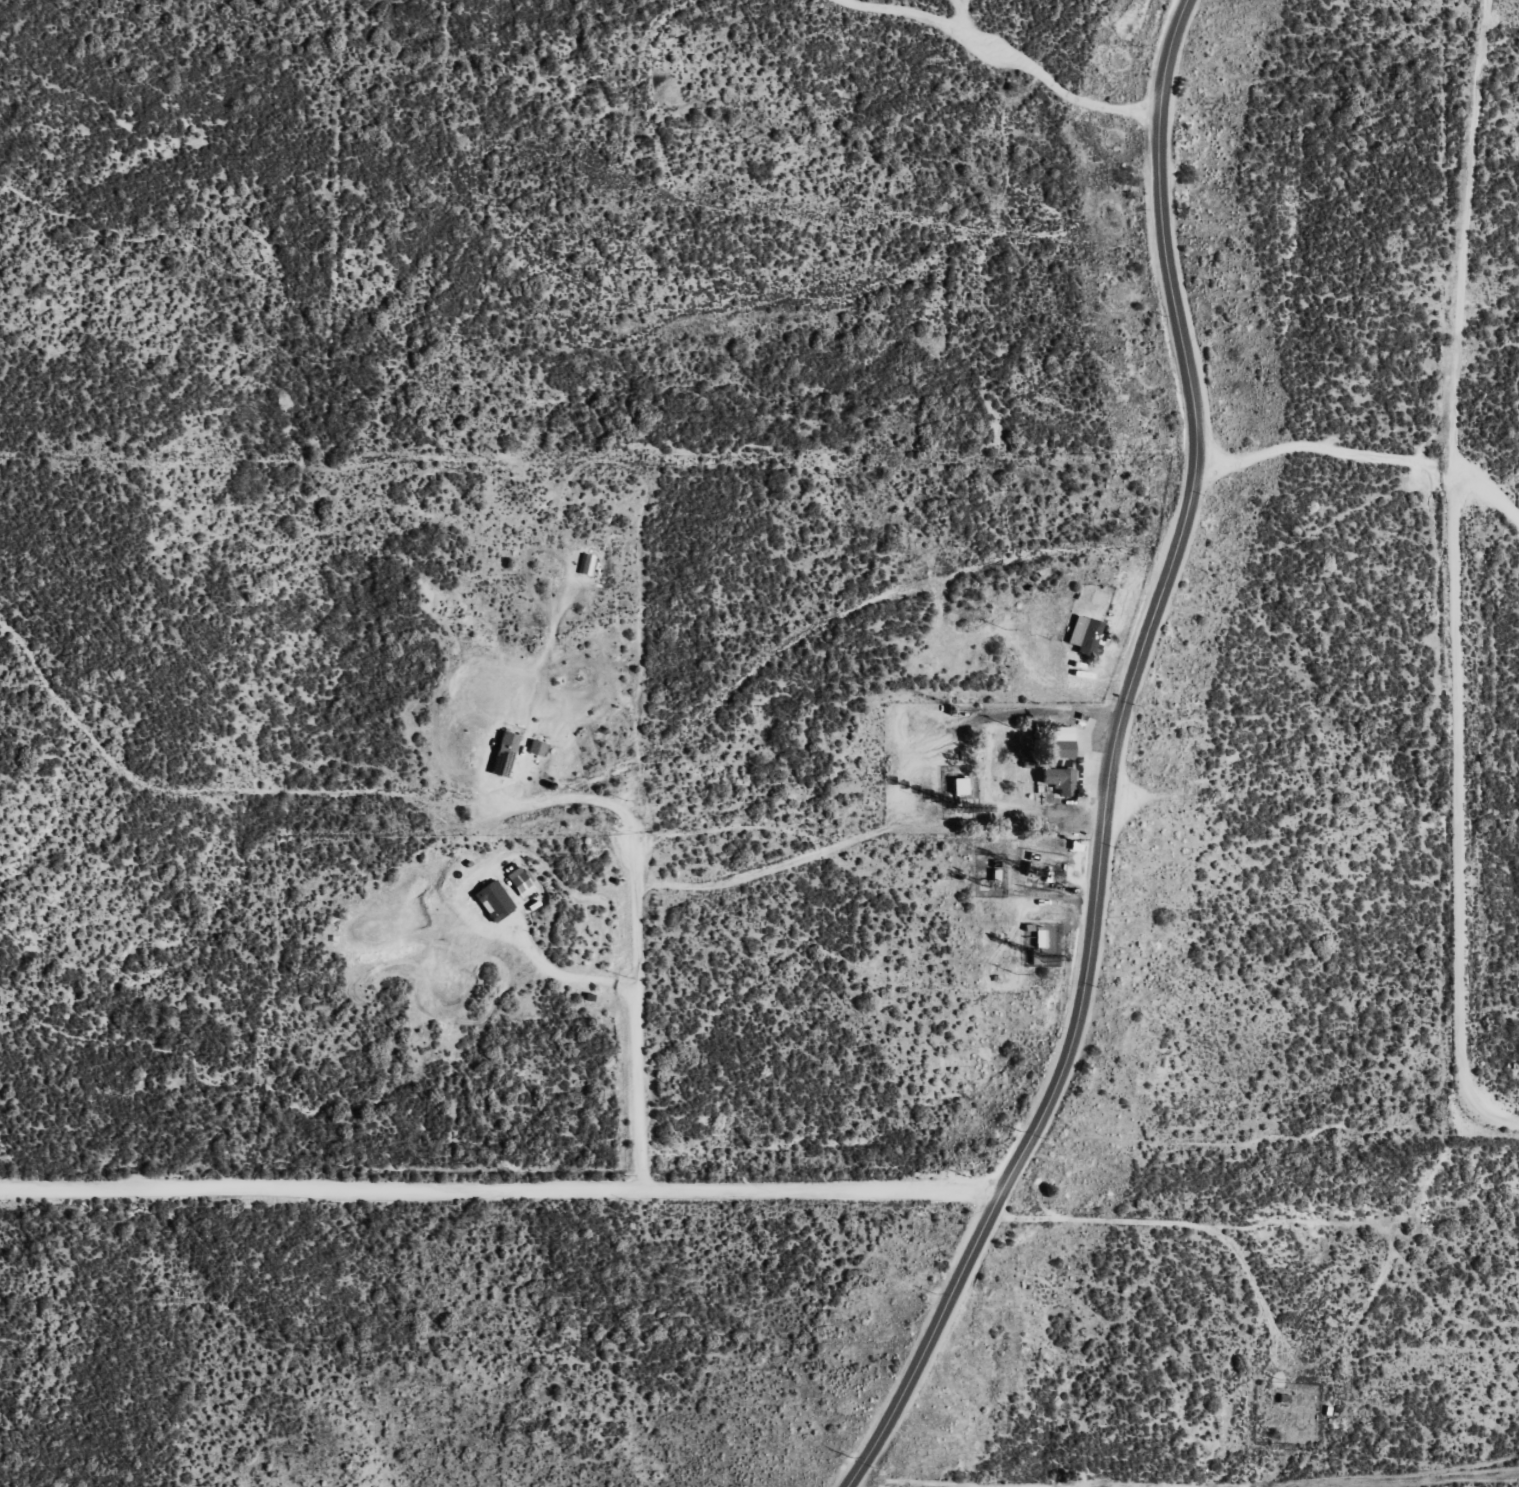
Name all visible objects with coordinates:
building: (1084, 635)
building: (1060, 742)
building: (536, 748)
building: (502, 754)
road: (1120, 762)
building: (1058, 781)
building: (958, 786)
building: (492, 901)
building: (1038, 939)
road: (484, 1034)
road: (638, 1121)
road: (504, 1191)

